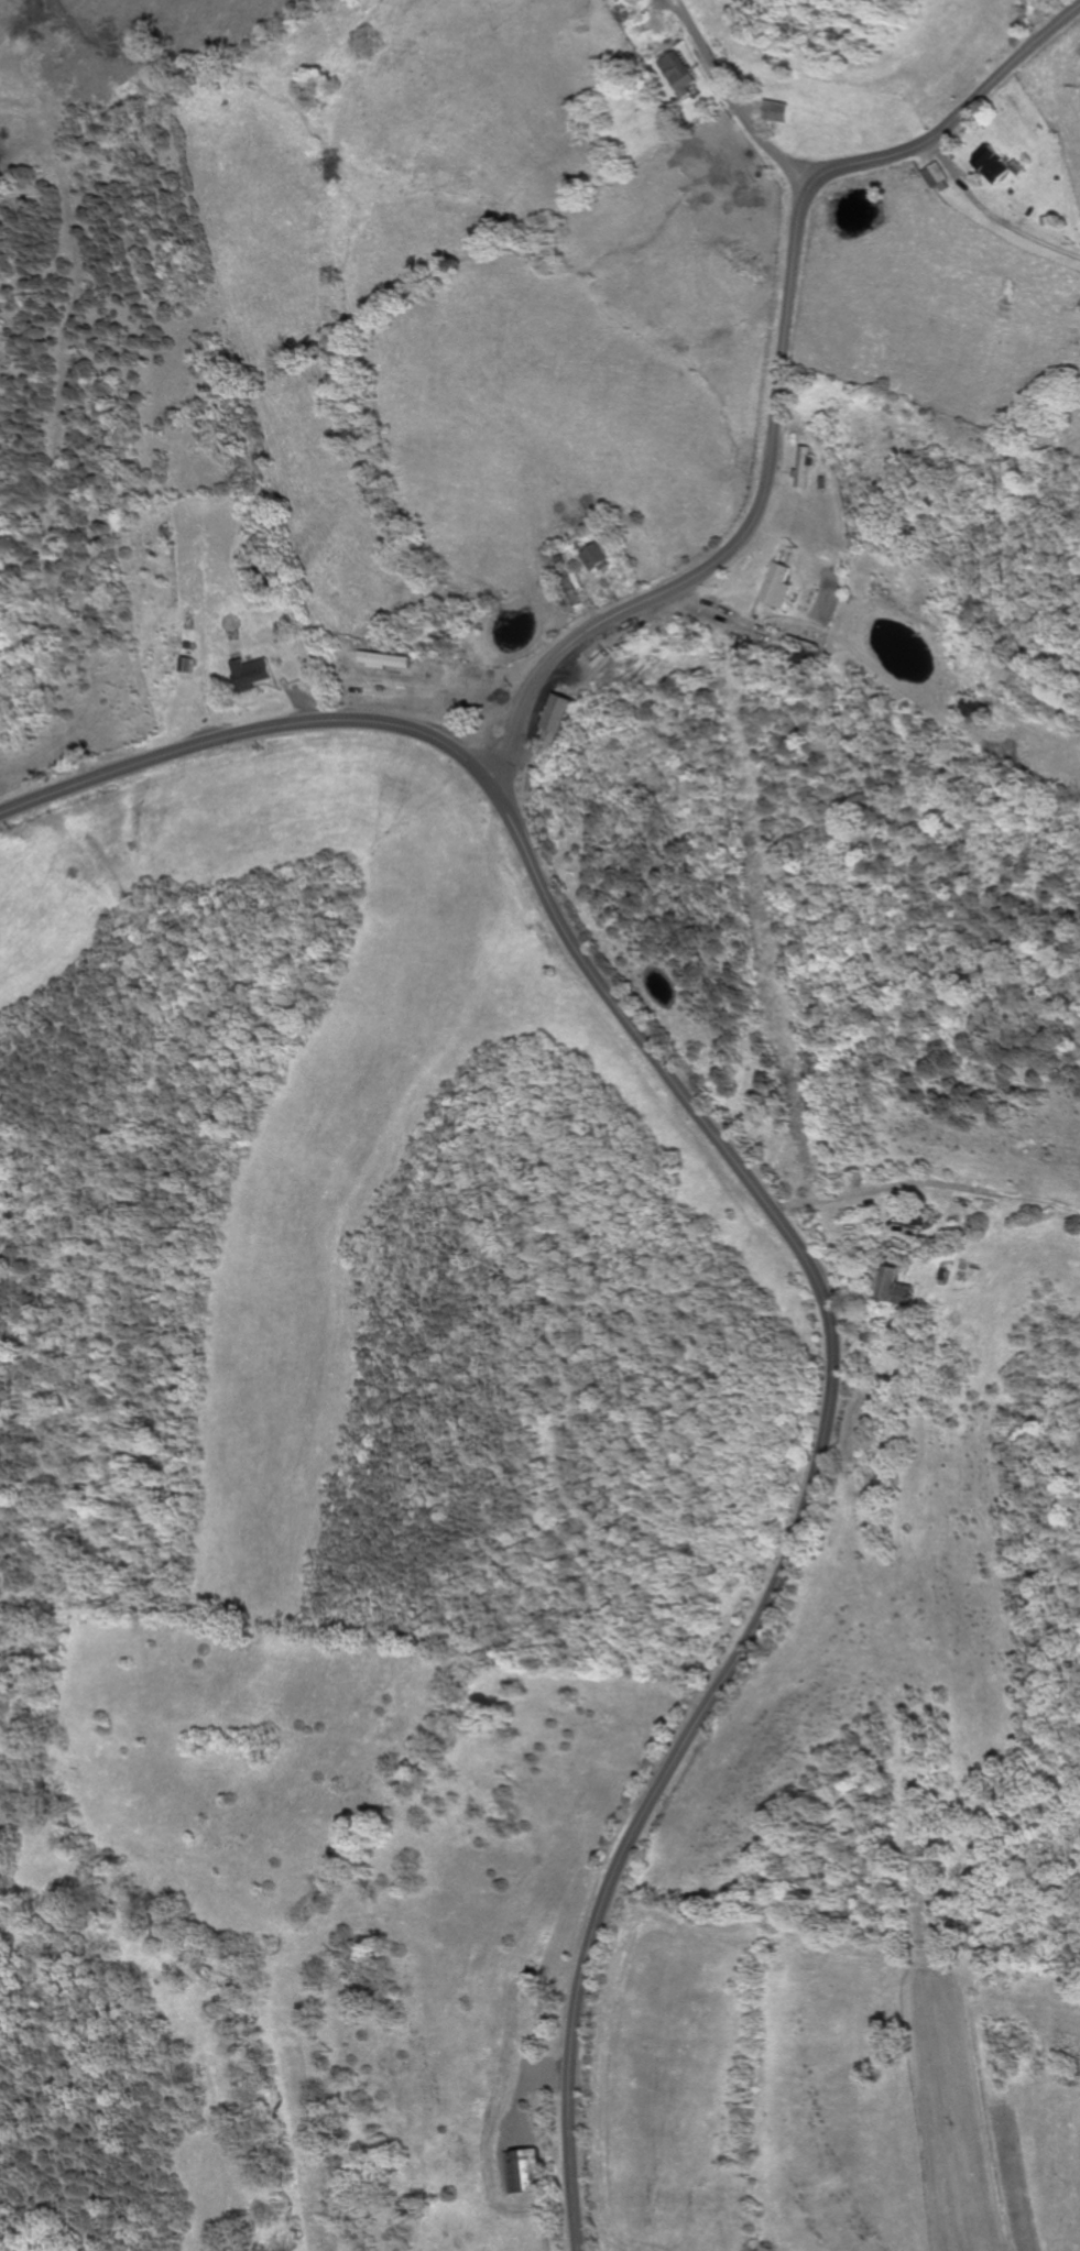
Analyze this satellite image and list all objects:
building: (677, 73)
road: (743, 107)
building: (778, 110)
building: (994, 163)
road: (820, 167)
building: (935, 174)
road: (782, 387)
building: (806, 467)
building: (597, 557)
building: (778, 586)
building: (252, 673)
building: (559, 718)
road: (491, 763)
road: (512, 795)
road: (926, 1195)
road: (794, 1241)
building: (887, 1283)
building: (903, 1296)
building: (521, 2168)

